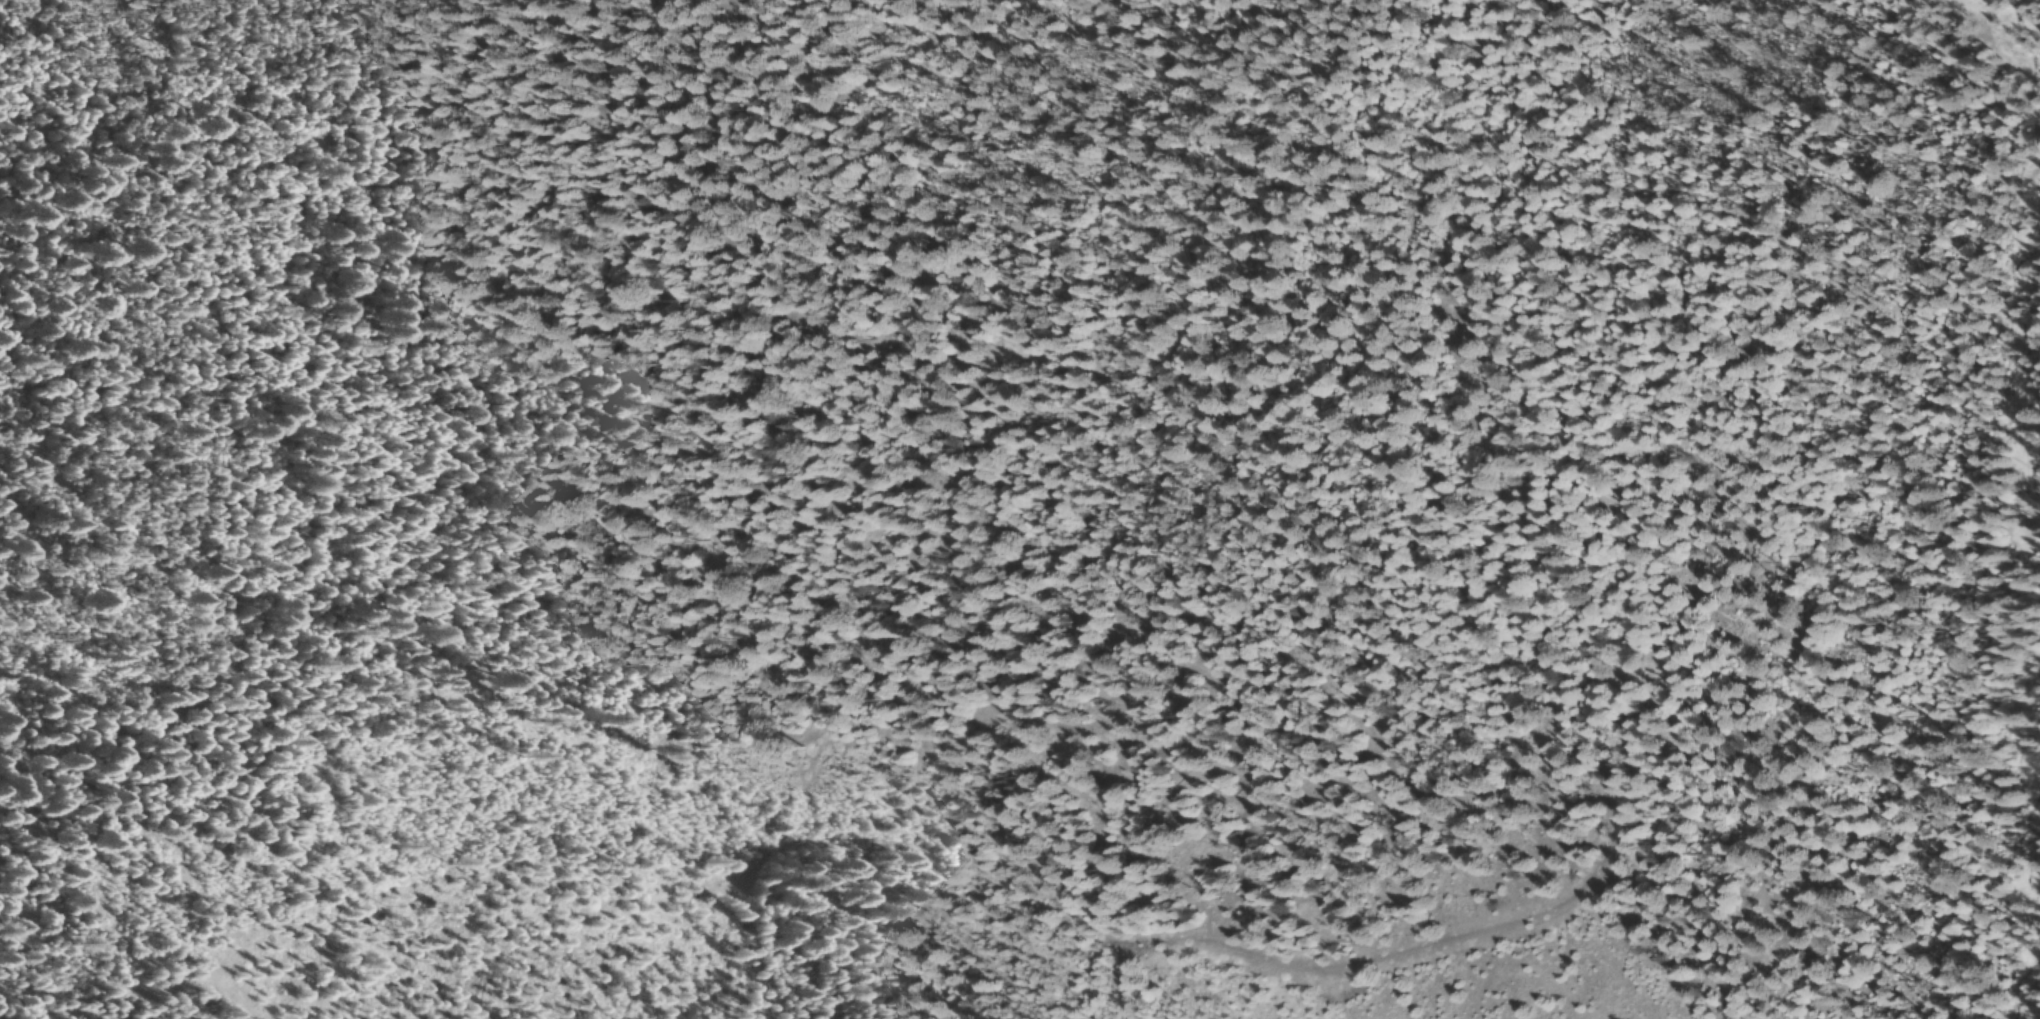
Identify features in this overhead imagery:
road: (2031, 6)
road: (174, 902)
road: (1247, 965)

